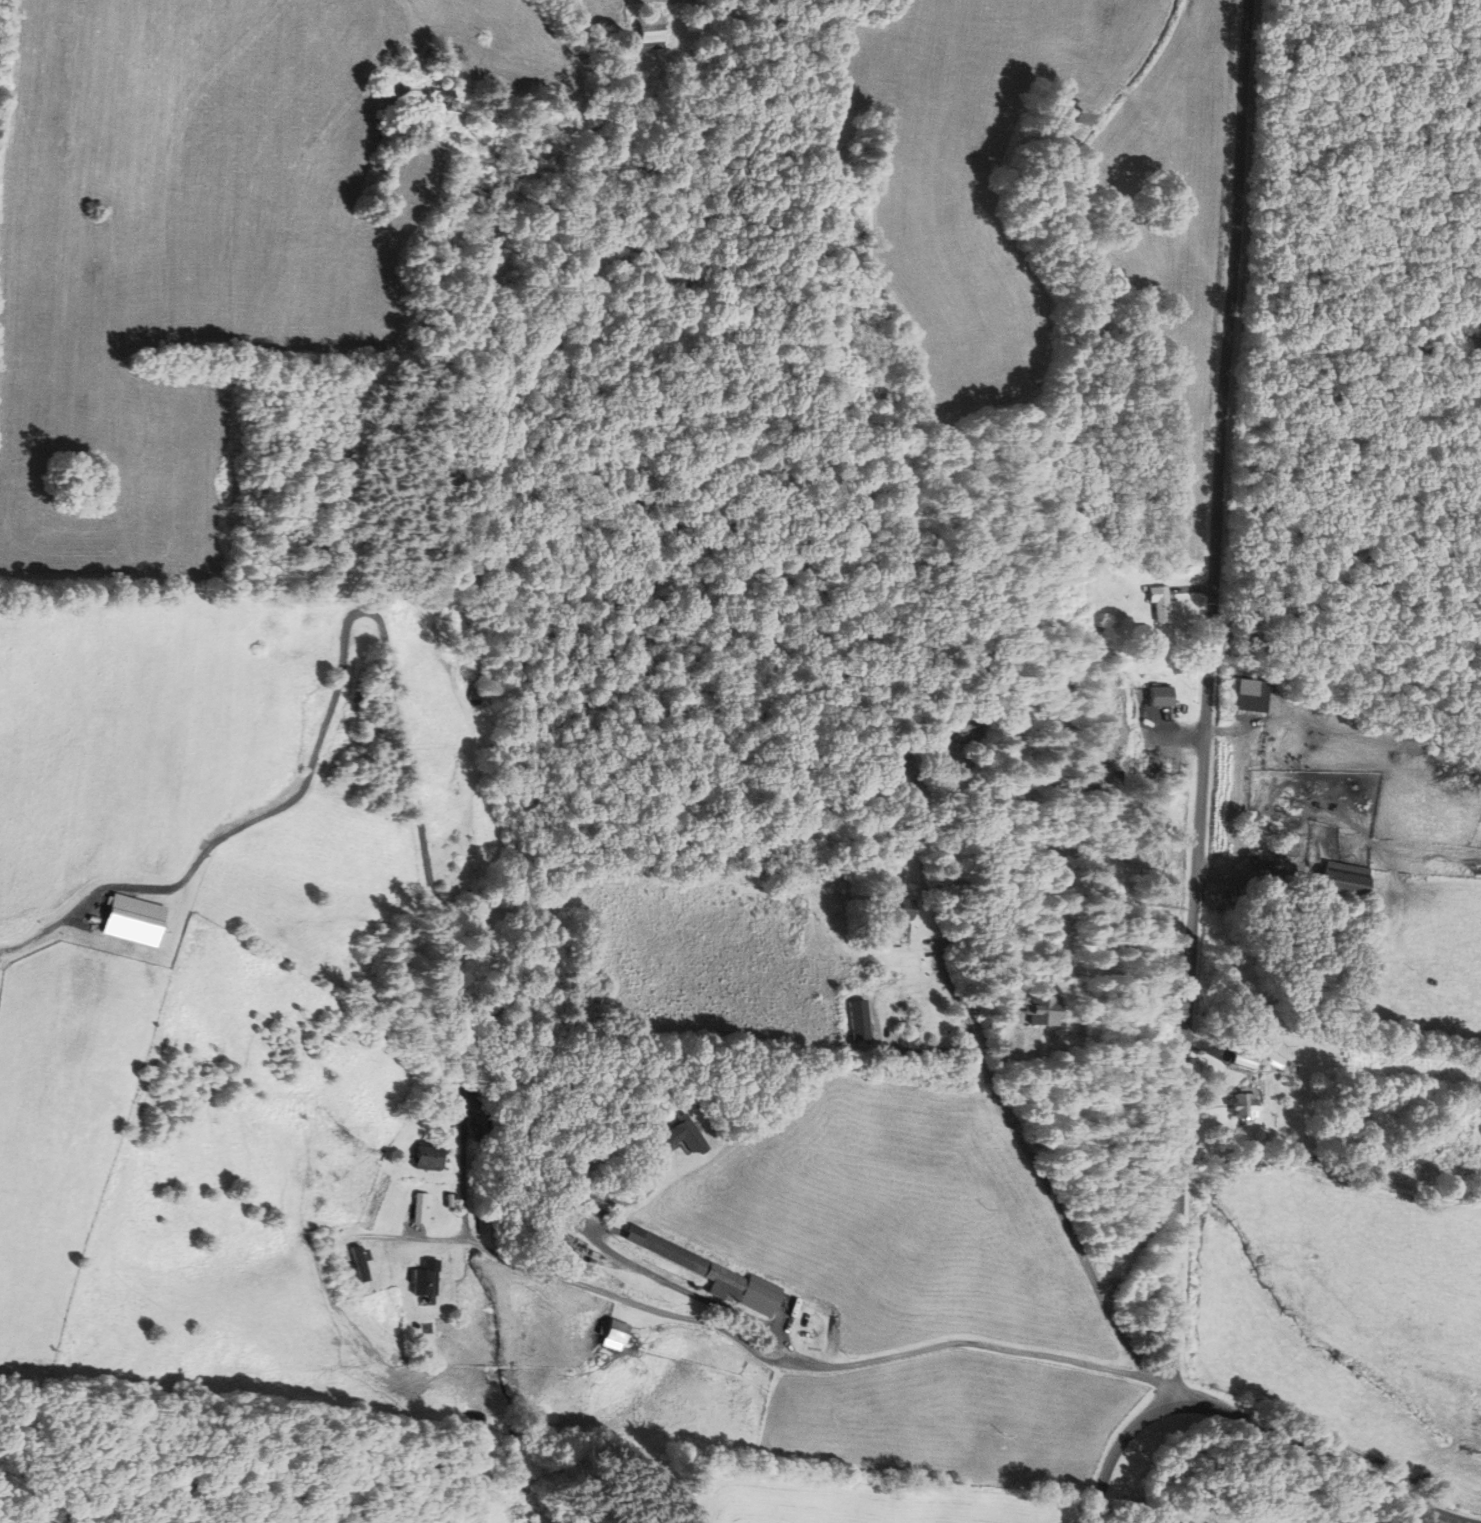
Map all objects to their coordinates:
building: (651, 30)
building: (445, 102)
building: (1165, 603)
road: (385, 645)
building: (1165, 696)
road: (1207, 701)
building: (962, 726)
building: (1255, 753)
building: (1235, 788)
building: (1286, 847)
building: (1347, 879)
building: (903, 909)
building: (864, 1020)
building: (1243, 1061)
building: (1242, 1106)
road: (1392, 1128)
building: (692, 1133)
building: (430, 1157)
road: (1242, 1158)
road: (1391, 1183)
road: (1057, 1211)
road: (410, 1237)
building: (359, 1264)
building: (711, 1272)
building: (430, 1279)
building: (612, 1333)
road: (807, 1365)
road: (1256, 1425)

